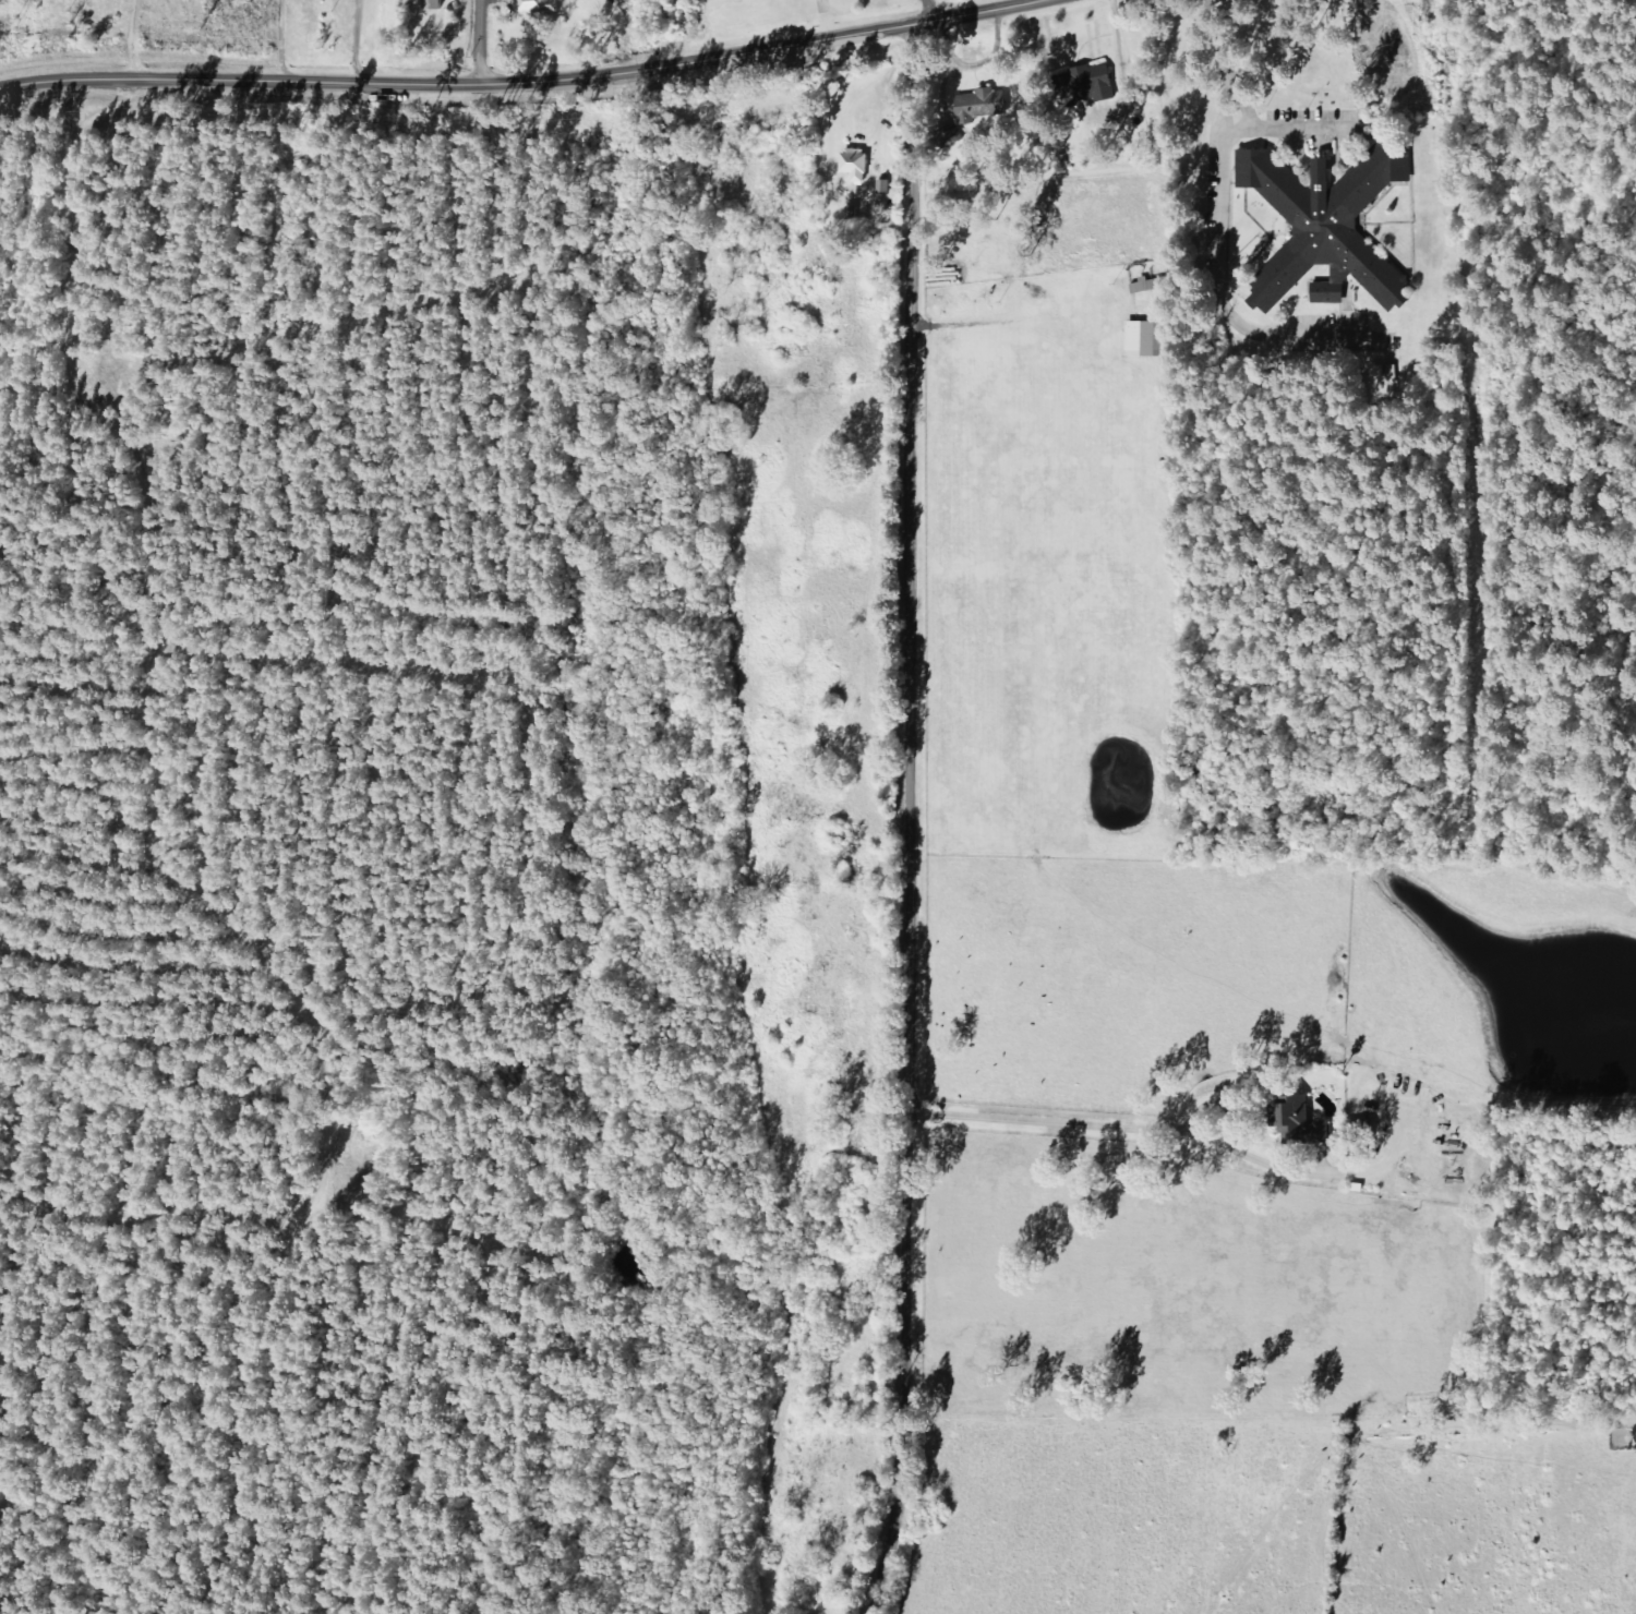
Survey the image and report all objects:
building: (436, 4)
building: (539, 7)
road: (520, 82)
building: (1097, 84)
building: (981, 108)
building: (858, 166)
building: (1330, 228)
building: (1153, 286)
building: (1151, 340)
road: (922, 807)

